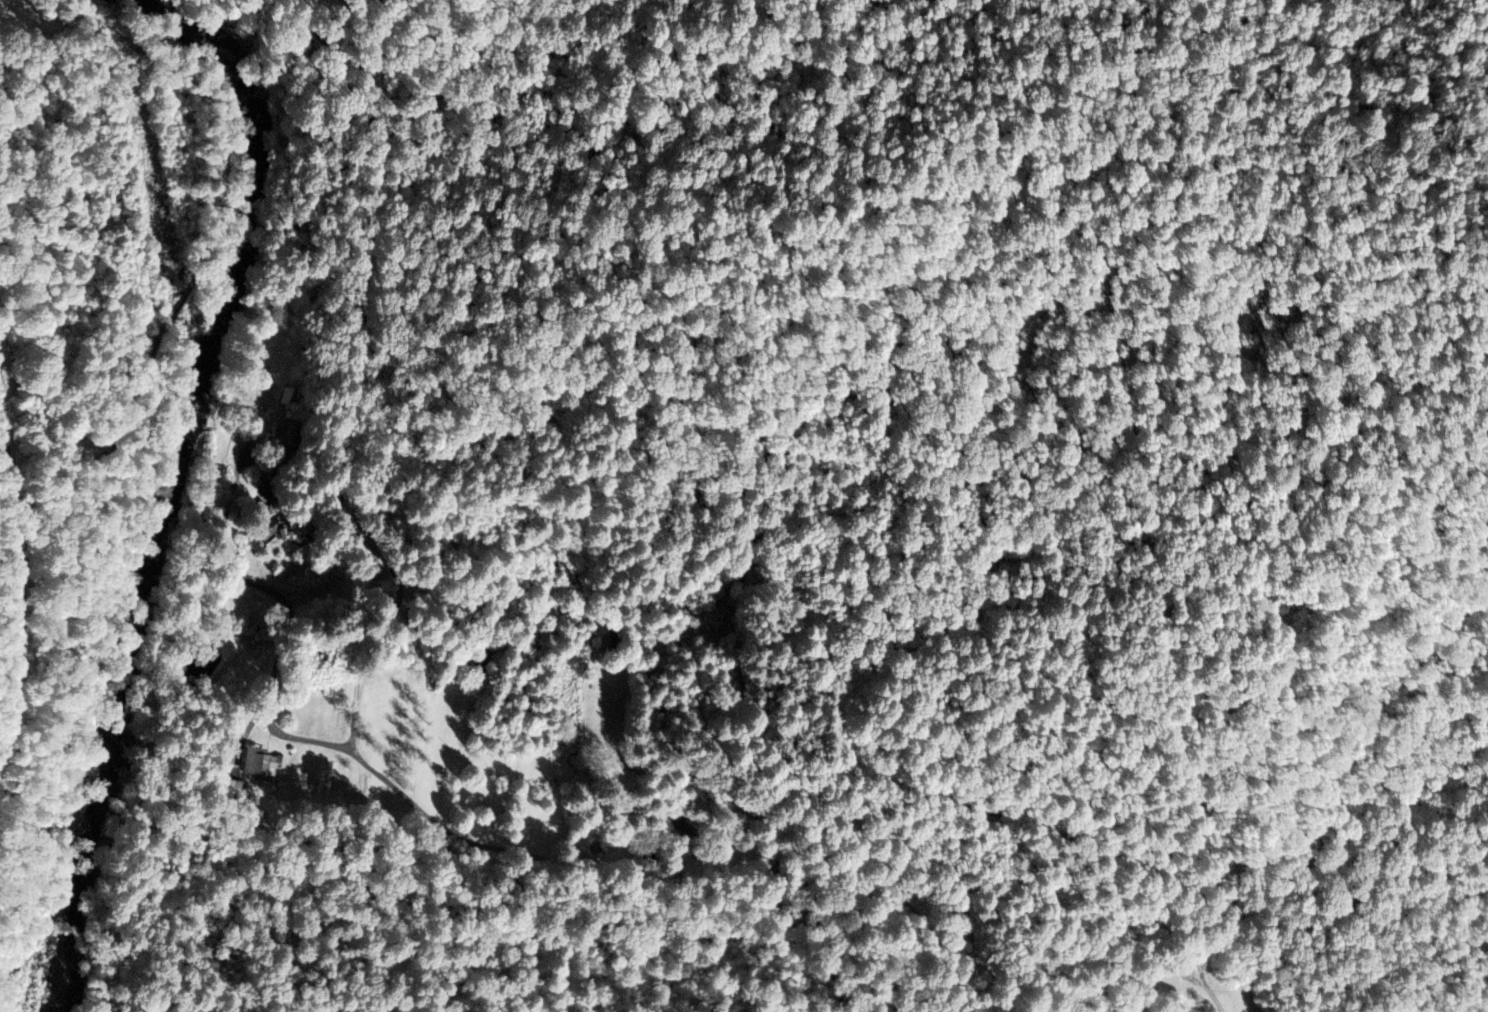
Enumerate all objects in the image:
road: (157, 328)
river: (225, 383)
building: (288, 395)
building: (285, 442)
road: (300, 464)
building: (294, 530)
road: (20, 589)
building: (260, 761)
river: (88, 841)
river: (67, 937)

